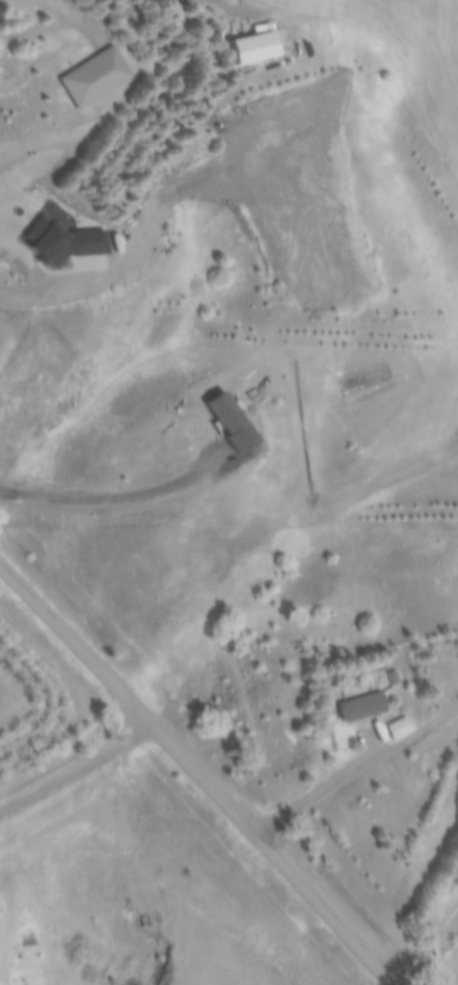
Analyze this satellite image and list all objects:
building: (456, 562)
building: (355, 712)
building: (396, 730)
road: (75, 764)
road: (199, 771)
road: (329, 786)
road: (430, 949)

